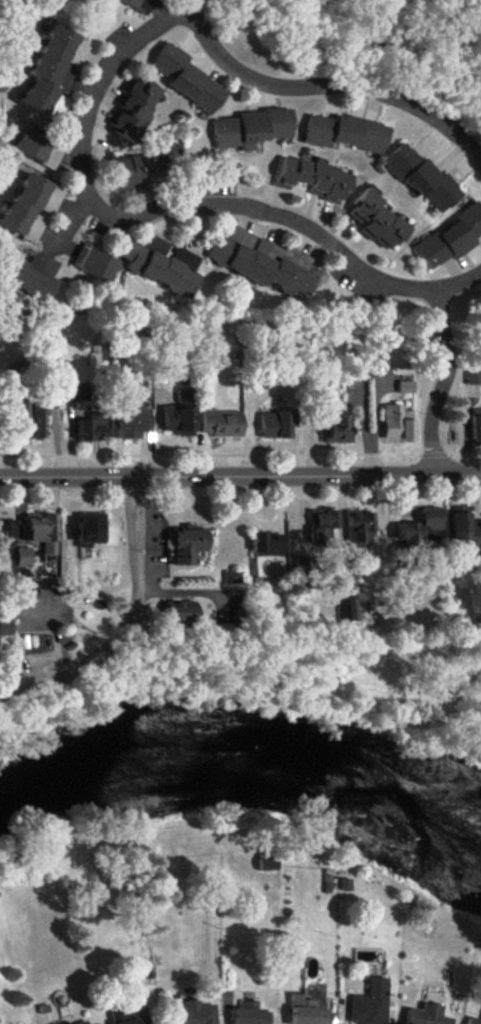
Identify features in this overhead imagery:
building: (137, 4)
road: (190, 6)
building: (49, 66)
building: (186, 77)
road: (333, 82)
building: (133, 108)
building: (251, 127)
building: (343, 131)
building: (37, 147)
building: (141, 164)
building: (313, 177)
building: (421, 177)
road: (179, 203)
building: (29, 205)
building: (376, 219)
road: (70, 221)
building: (450, 237)
building: (260, 260)
building: (93, 262)
building: (159, 263)
building: (32, 276)
road: (38, 366)
building: (362, 371)
building: (473, 372)
road: (441, 383)
building: (74, 392)
building: (178, 415)
building: (28, 418)
building: (128, 420)
building: (219, 422)
building: (396, 422)
building: (275, 423)
building: (476, 425)
building: (90, 427)
building: (337, 428)
road: (240, 476)
building: (321, 524)
building: (422, 525)
building: (358, 527)
building: (463, 527)
building: (87, 530)
building: (40, 531)
building: (5, 532)
building: (264, 543)
building: (187, 544)
building: (22, 556)
building: (299, 565)
road: (170, 593)
building: (347, 608)
building: (178, 614)
road: (126, 618)
building: (5, 626)
river: (245, 768)
building: (264, 861)
building: (366, 1007)
building: (304, 1011)
building: (191, 1013)
building: (247, 1014)
building: (424, 1015)
building: (130, 1020)
building: (472, 1020)
building: (80, 1023)

